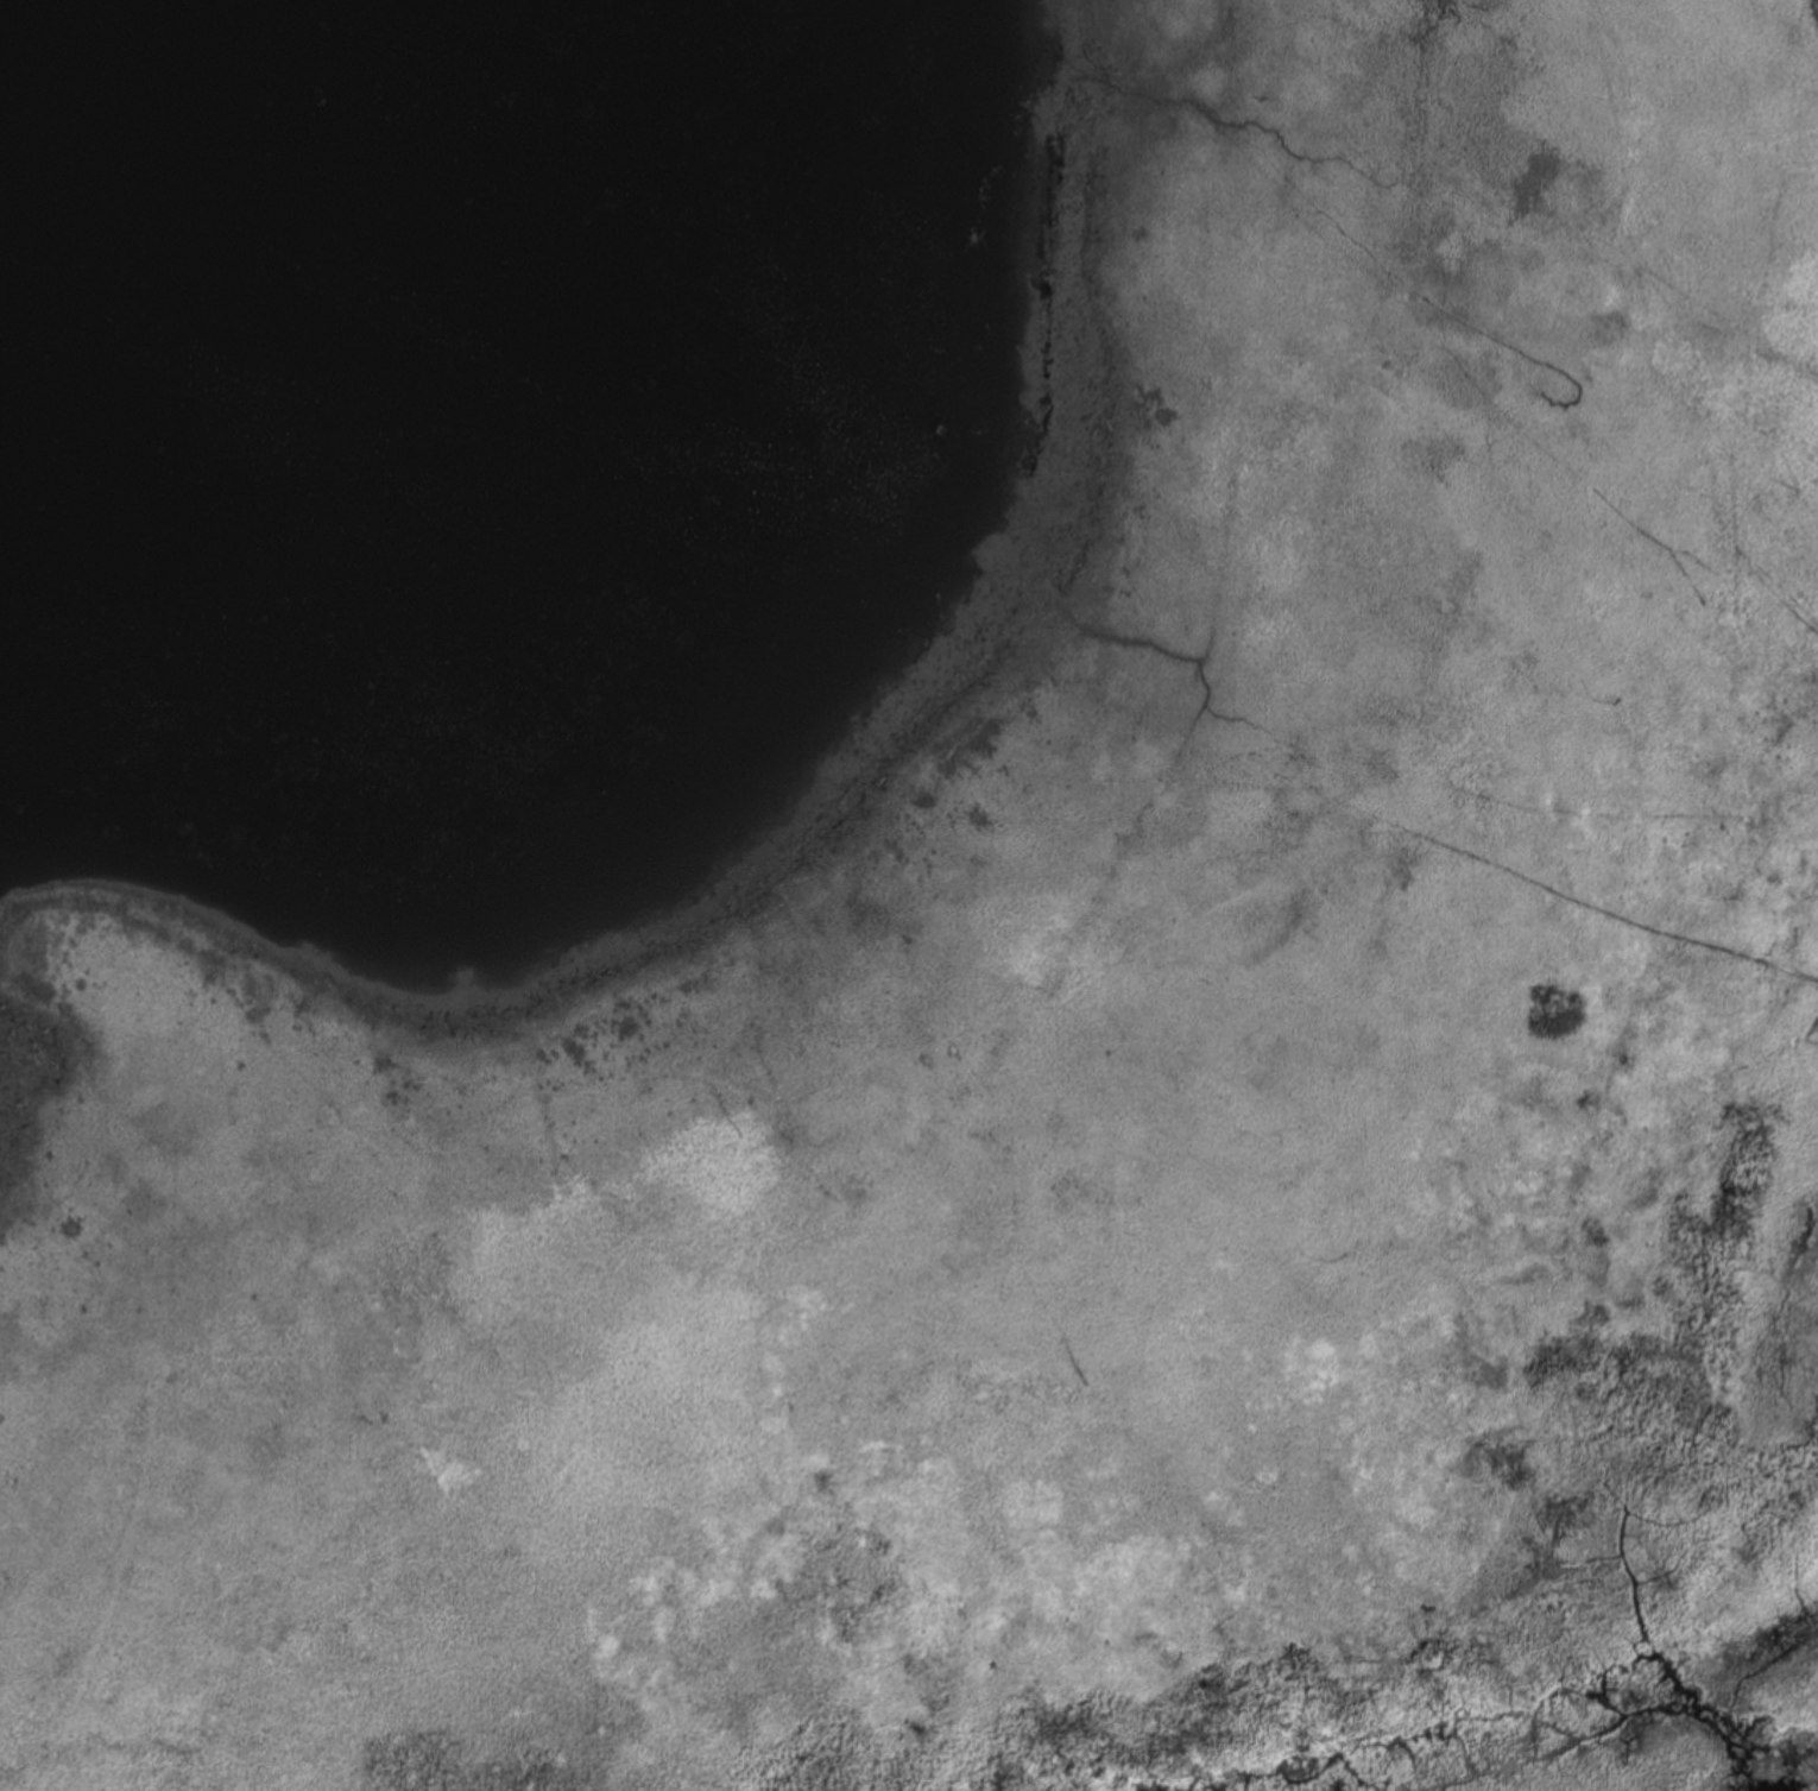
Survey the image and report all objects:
river: (64, 259)

